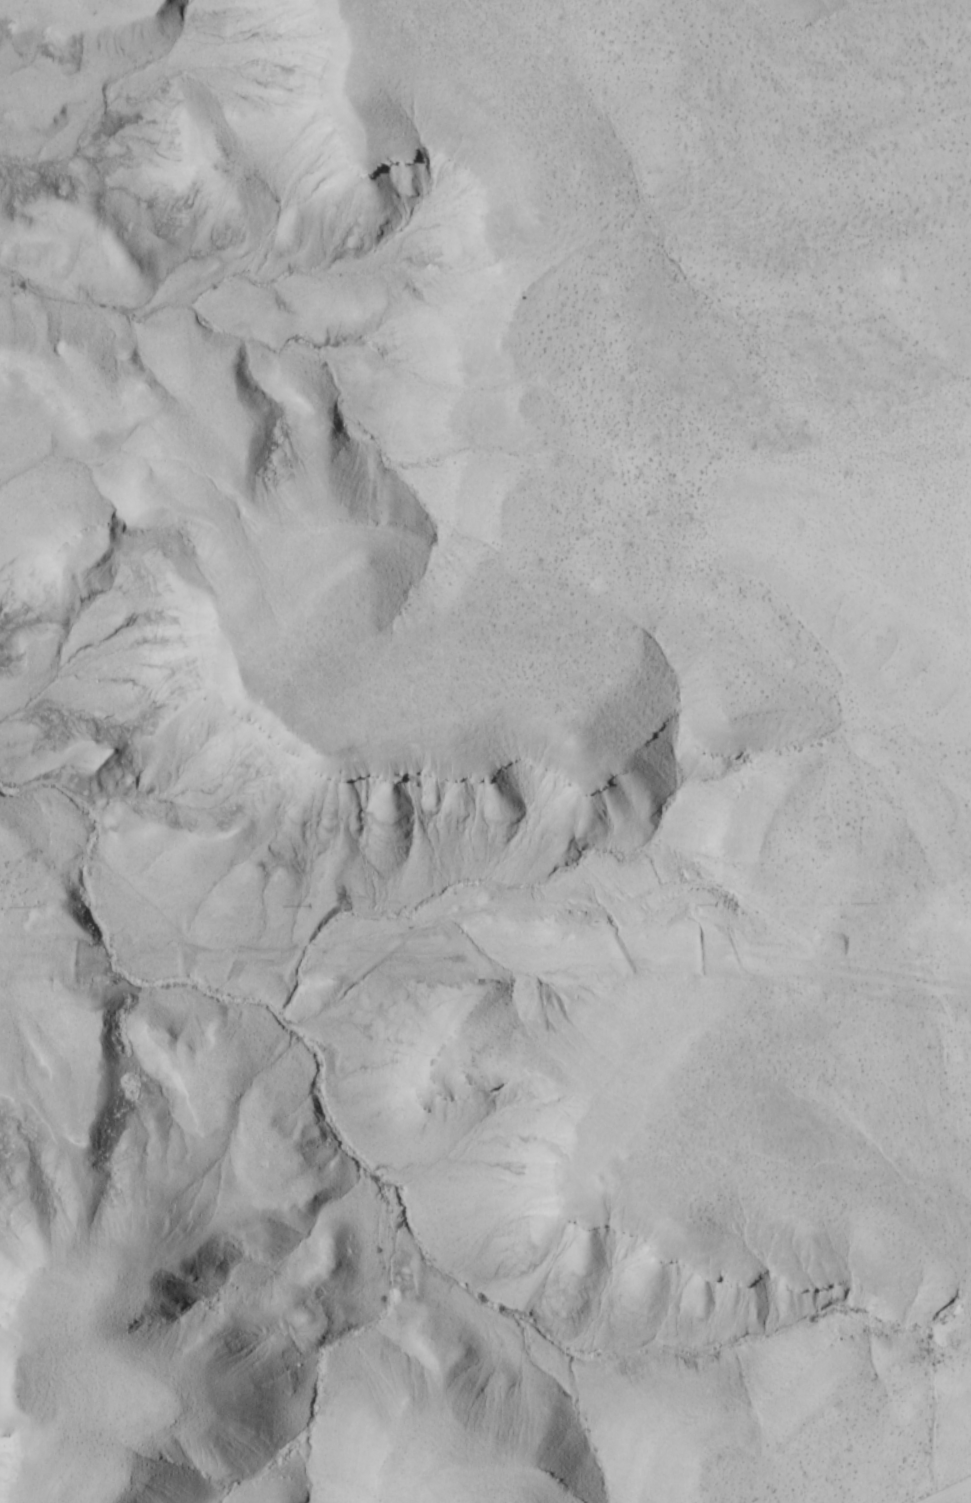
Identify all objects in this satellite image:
road: (957, 1495)

